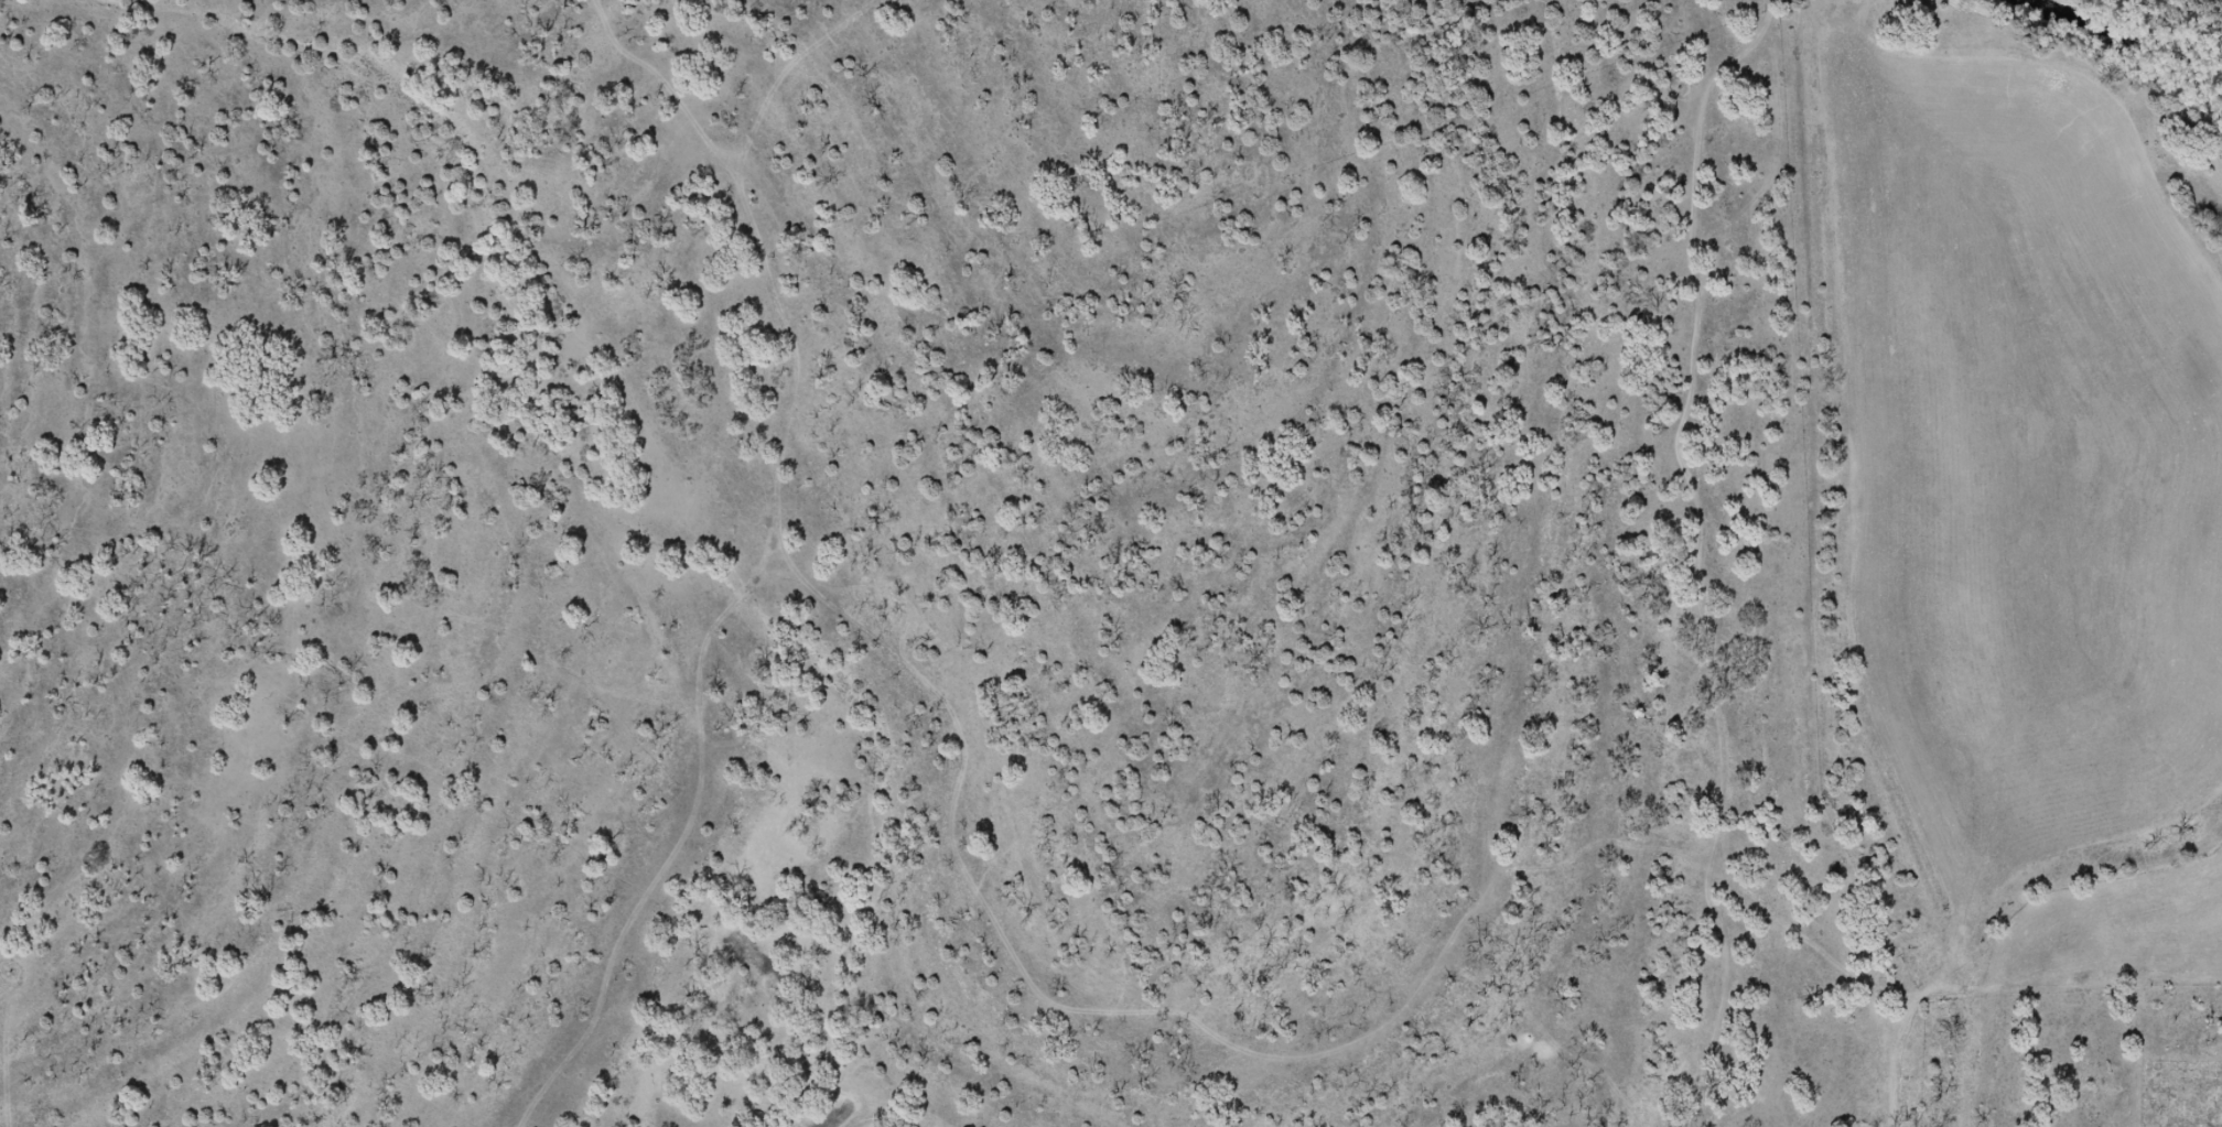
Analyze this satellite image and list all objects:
park: (2181, 1094)

